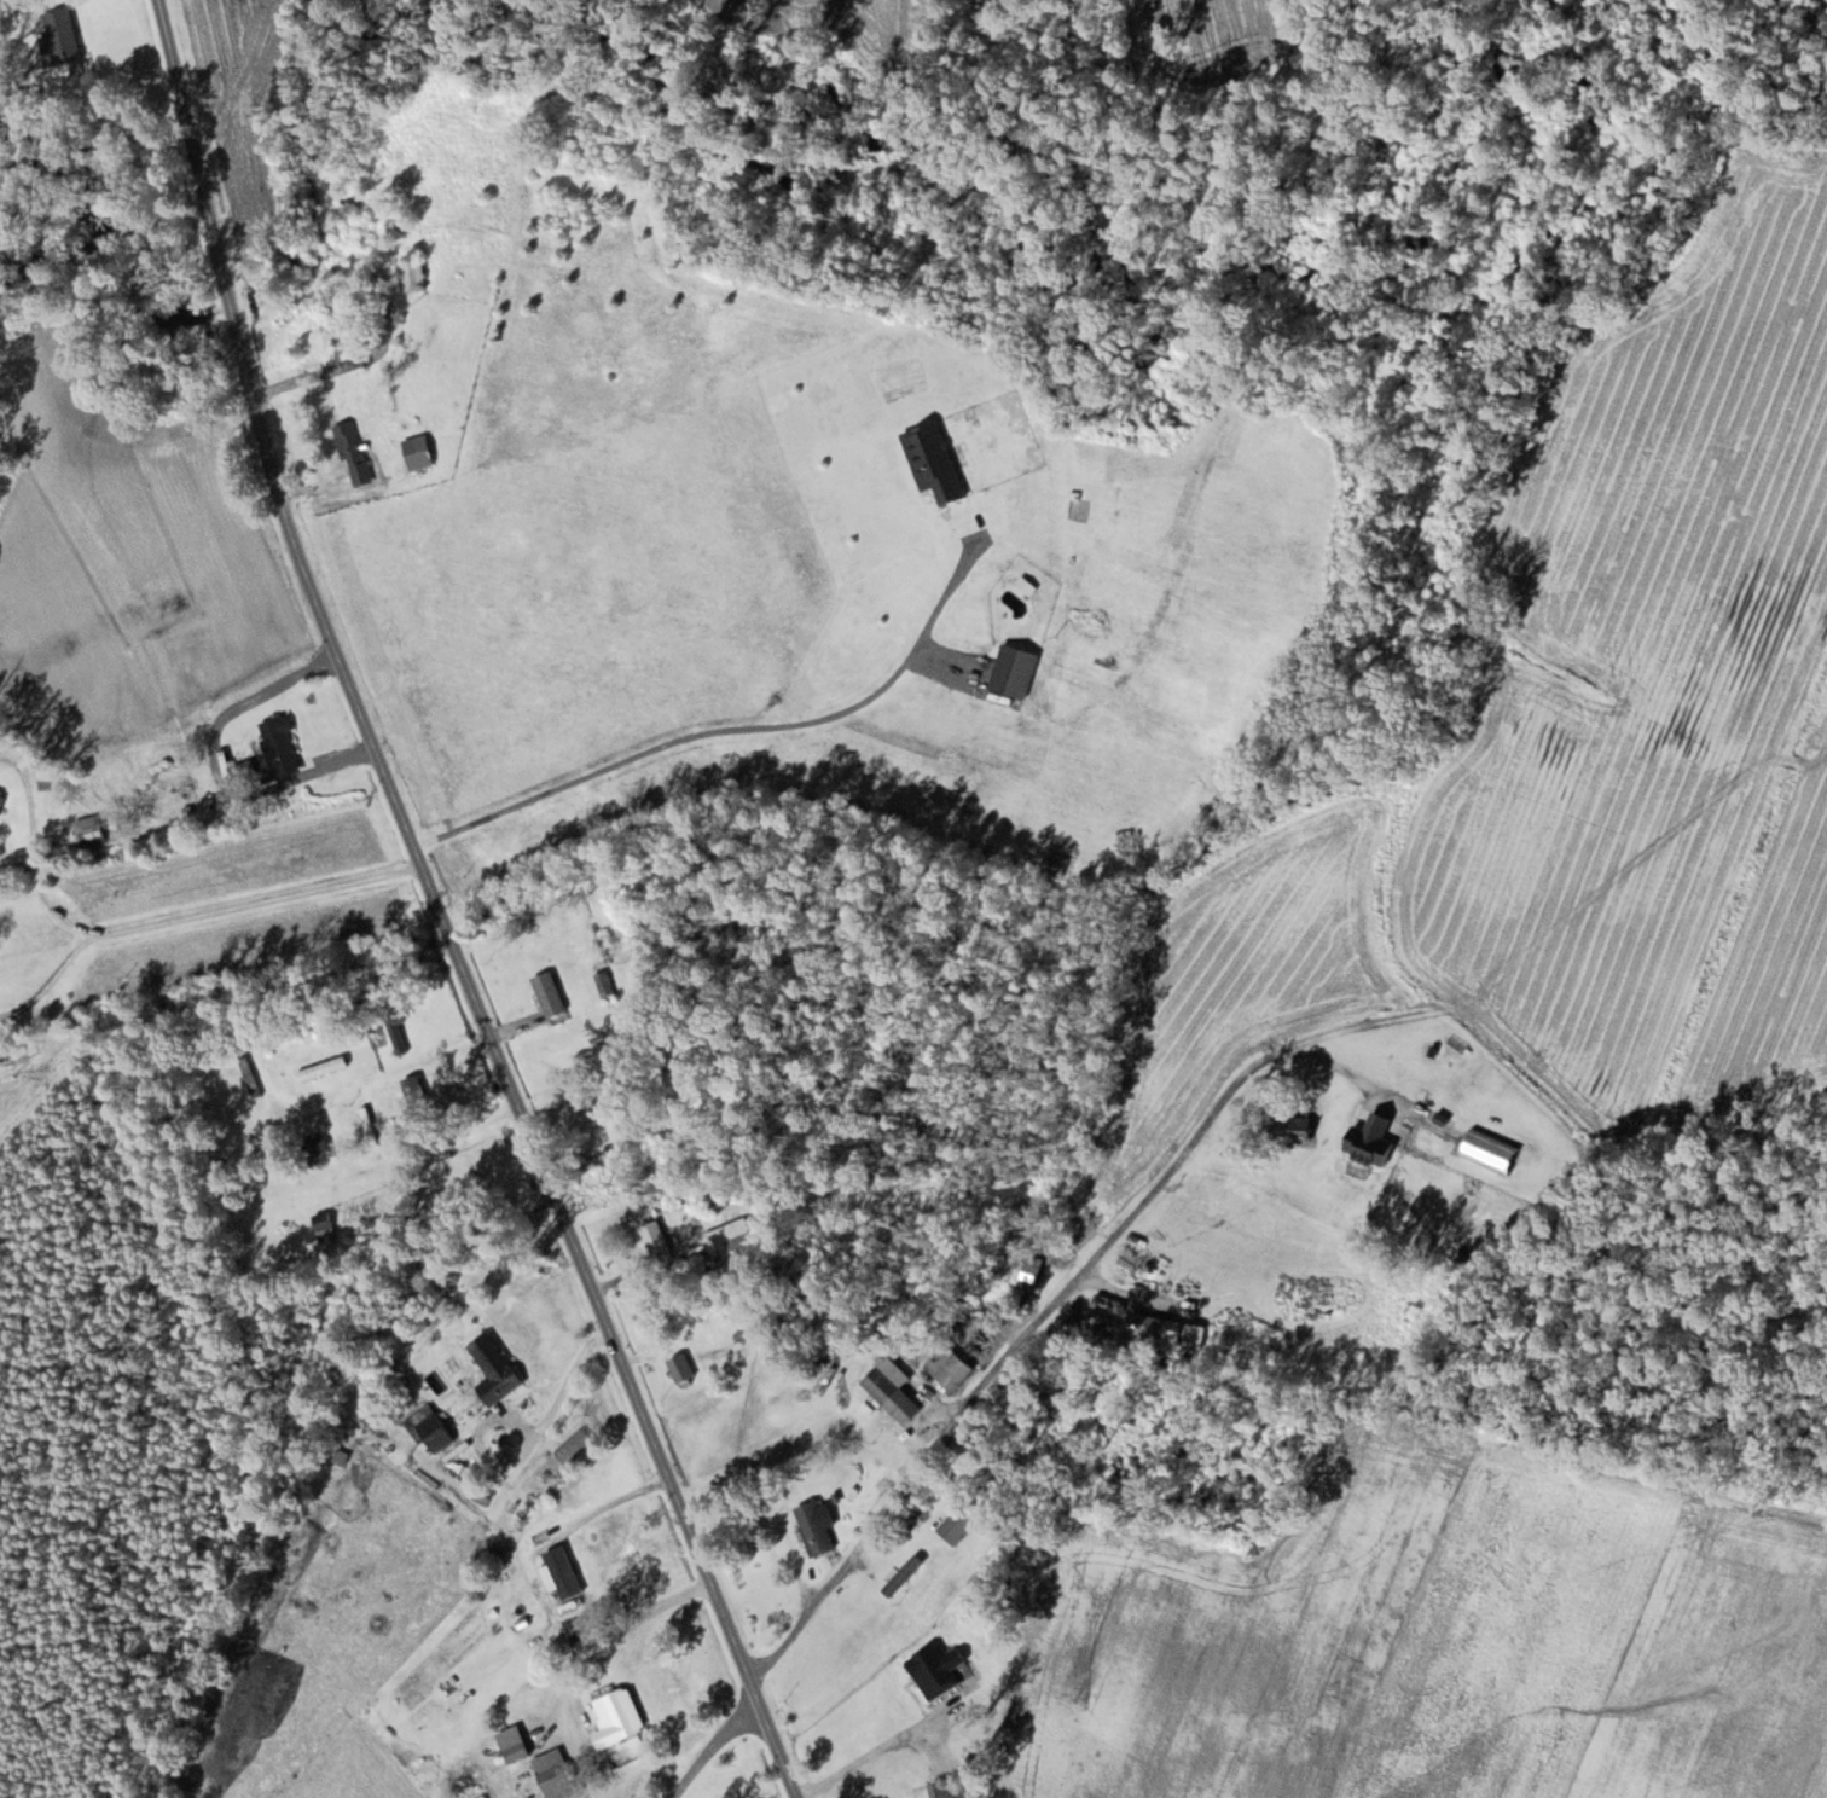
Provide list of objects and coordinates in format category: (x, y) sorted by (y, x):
building: (60, 34)
building: (398, 225)
building: (412, 275)
building: (418, 451)
building: (352, 453)
building: (1014, 669)
building: (279, 746)
building: (106, 758)
building: (0, 796)
building: (89, 830)
road: (439, 911)
building: (604, 986)
building: (549, 994)
building: (396, 1037)
building: (296, 1061)
building: (249, 1077)
building: (416, 1095)
building: (617, 1121)
building: (367, 1126)
building: (1371, 1139)
building: (315, 1147)
building: (634, 1174)
building: (321, 1220)
building: (655, 1240)
building: (731, 1242)
building: (1031, 1272)
building: (1165, 1333)
building: (949, 1367)
building: (680, 1369)
building: (494, 1370)
building: (892, 1396)
building: (428, 1427)
building: (956, 1526)
building: (814, 1530)
building: (901, 1576)
building: (529, 1626)
building: (936, 1670)
building: (616, 1717)
building: (512, 1744)
road: (709, 1747)
building: (553, 1774)
building: (920, 1792)
building: (959, 1797)

